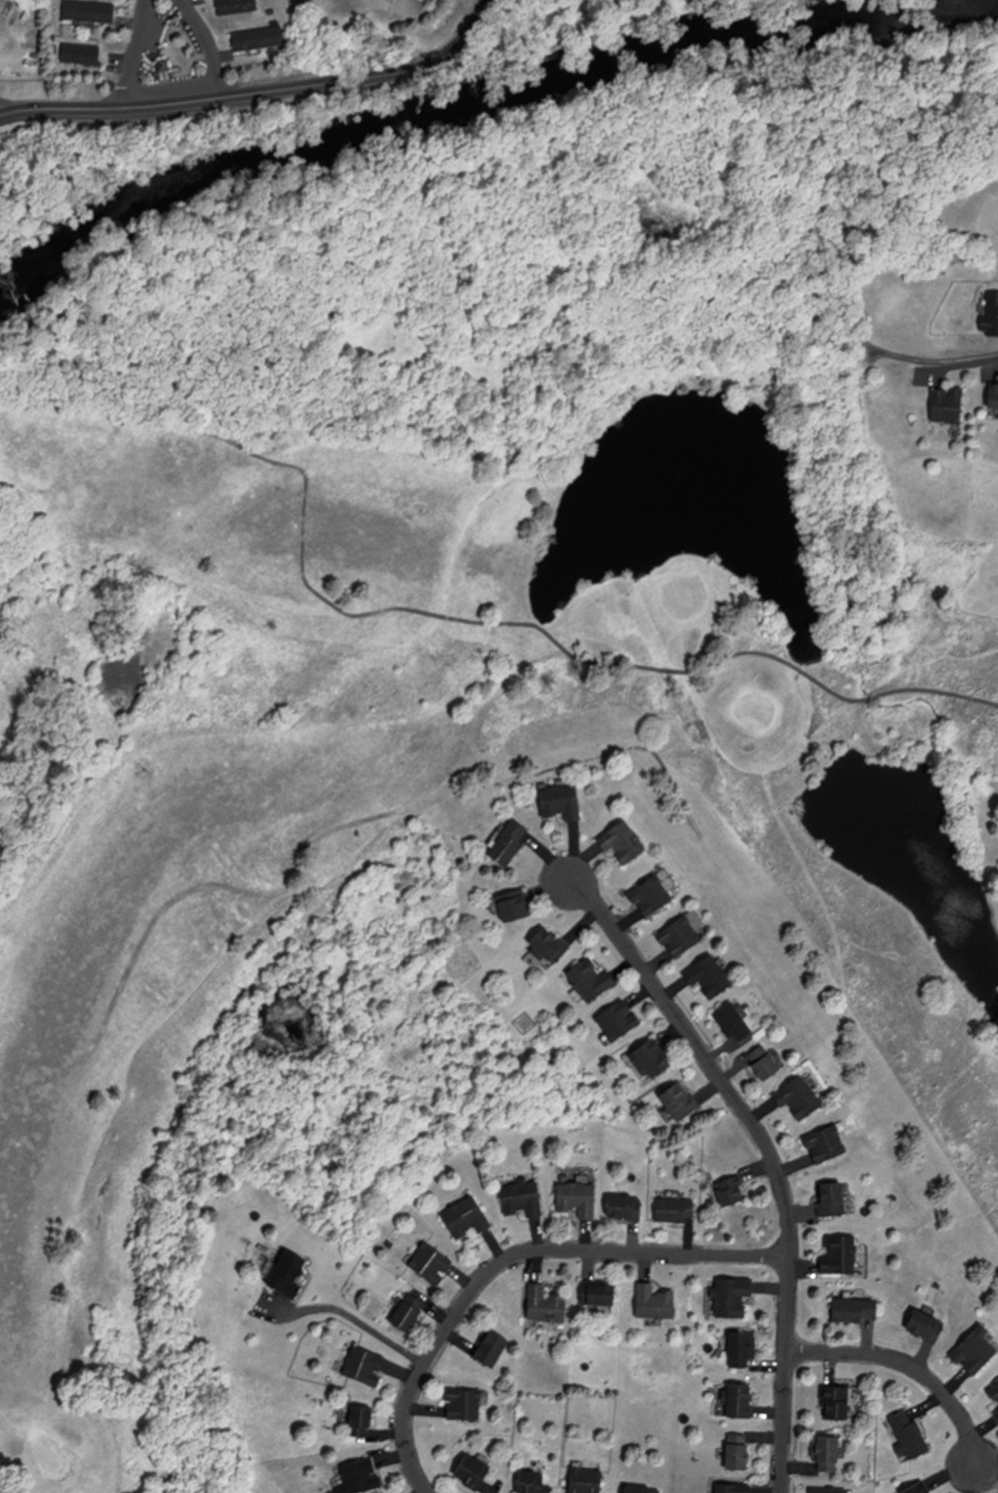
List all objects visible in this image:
building: (237, 7)
building: (90, 13)
building: (259, 40)
road: (210, 45)
road: (136, 54)
building: (82, 56)
road: (260, 92)
river: (484, 111)
road: (1, 113)
building: (991, 316)
road: (981, 357)
building: (993, 396)
building: (947, 407)
park: (450, 758)
building: (560, 801)
building: (509, 841)
building: (623, 842)
building: (650, 894)
building: (513, 907)
building: (680, 936)
building: (548, 946)
building: (709, 976)
building: (591, 980)
building: (619, 1021)
building: (733, 1021)
building: (651, 1058)
building: (764, 1064)
building: (799, 1096)
building: (679, 1102)
building: (826, 1143)
road: (771, 1158)
building: (730, 1190)
building: (523, 1196)
building: (578, 1197)
building: (833, 1200)
building: (625, 1207)
building: (675, 1209)
building: (466, 1215)
building: (841, 1255)
road: (513, 1259)
building: (431, 1262)
building: (287, 1272)
building: (599, 1293)
building: (731, 1295)
building: (655, 1301)
building: (545, 1302)
building: (856, 1308)
building: (408, 1312)
road: (359, 1321)
building: (926, 1325)
building: (491, 1348)
building: (742, 1348)
building: (976, 1348)
building: (363, 1365)
road: (910, 1368)
building: (994, 1391)
building: (739, 1399)
building: (837, 1400)
building: (465, 1403)
building: (997, 1412)
building: (360, 1419)
building: (909, 1434)
building: (737, 1451)
building: (826, 1451)
building: (473, 1470)
building: (361, 1474)
building: (586, 1480)
building: (532, 1482)
building: (732, 1488)
building: (915, 1488)
building: (640, 1489)
building: (830, 1489)

